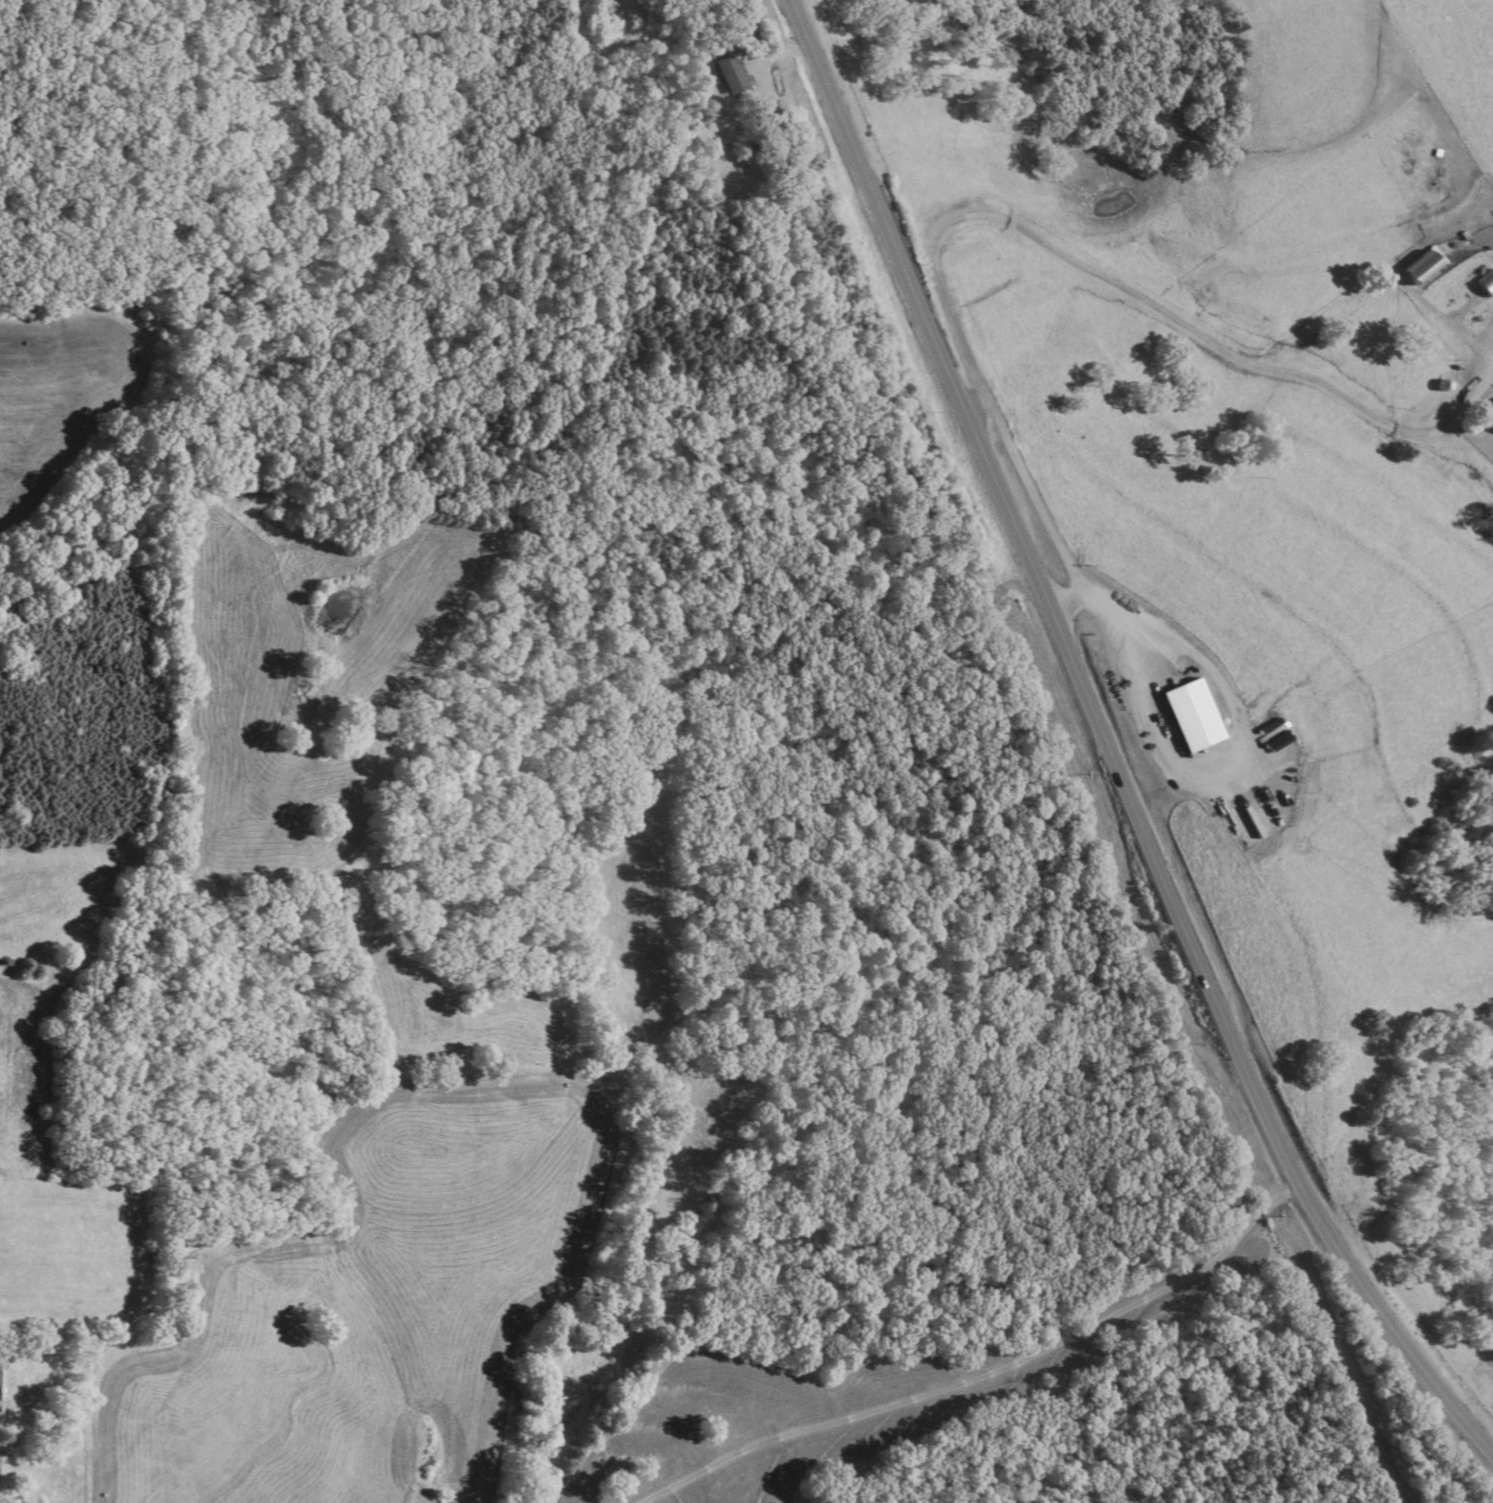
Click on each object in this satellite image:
building: (745, 34)
building: (727, 75)
building: (767, 123)
building: (1421, 270)
building: (1483, 285)
building: (1491, 426)
building: (1189, 717)
road: (1102, 746)

